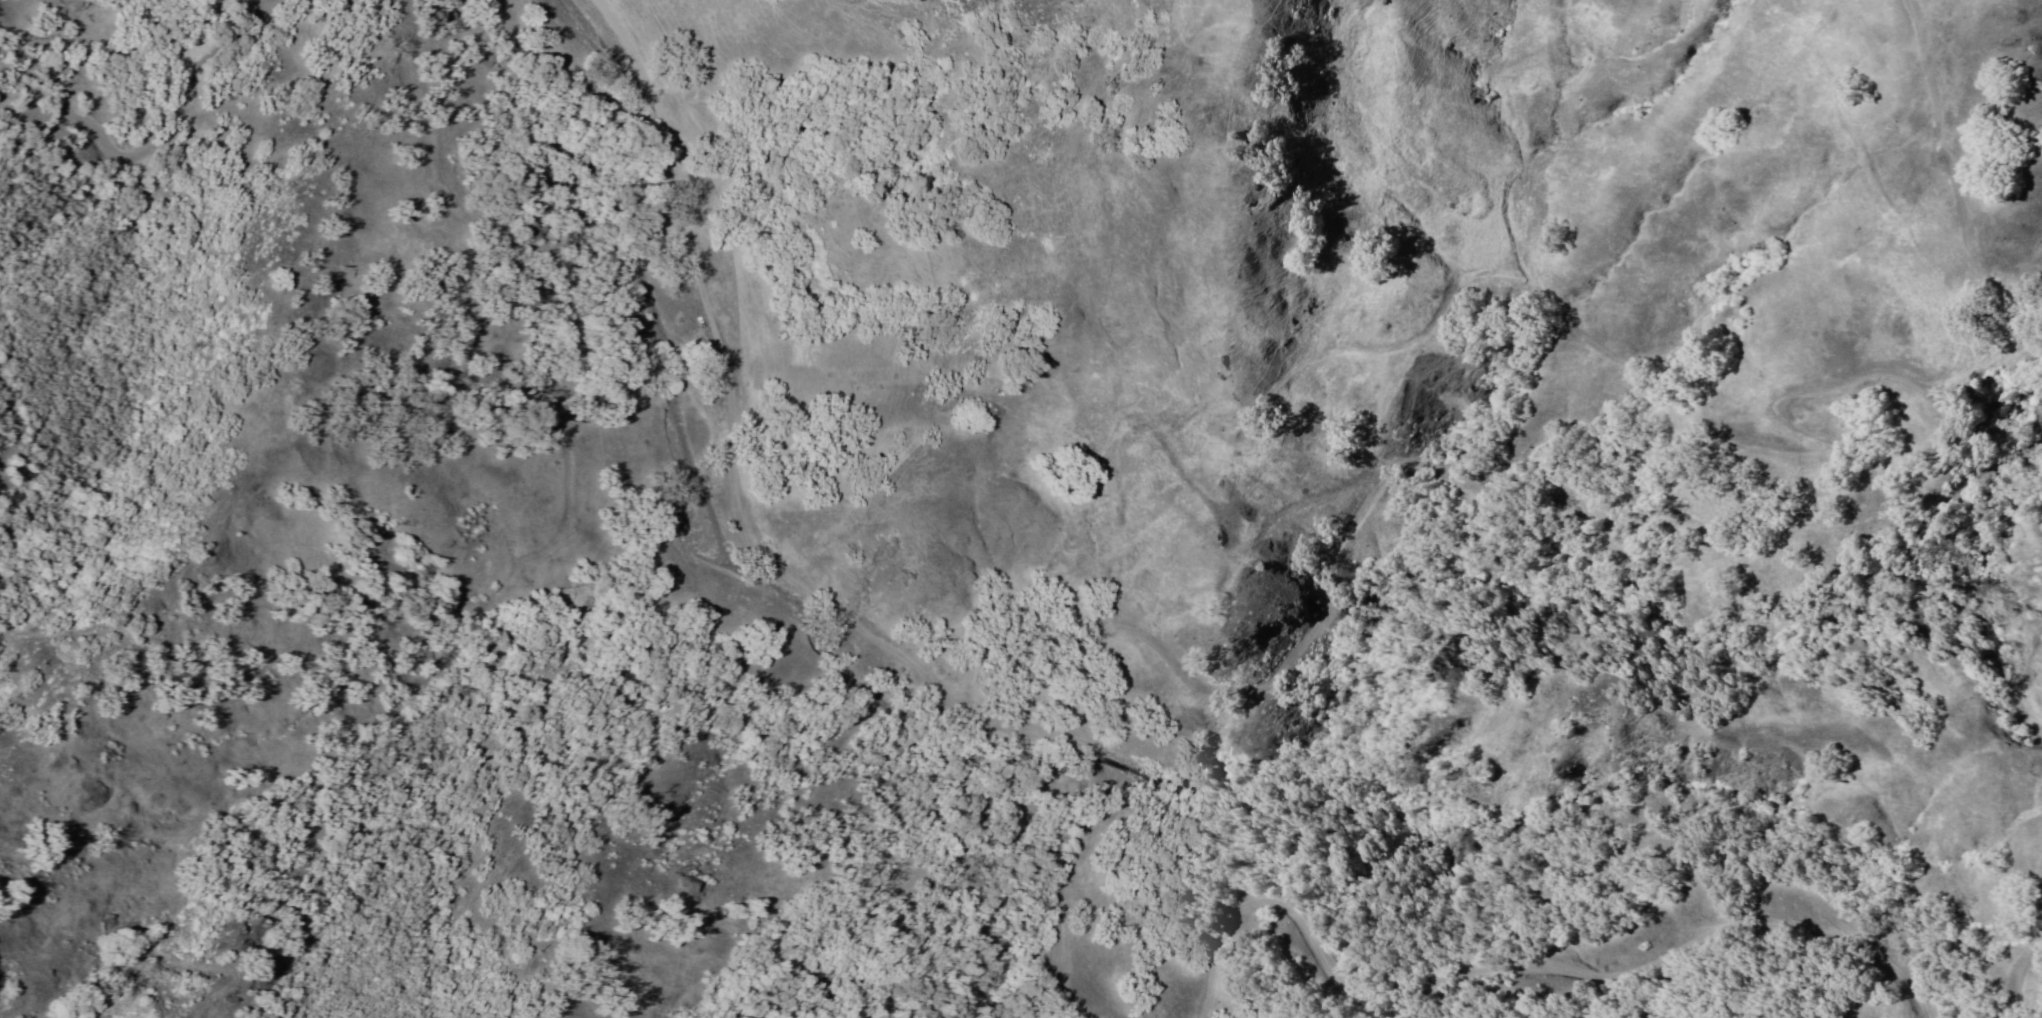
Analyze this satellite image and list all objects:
road: (799, 582)
road: (1517, 970)
road: (2016, 976)
road: (1067, 986)

